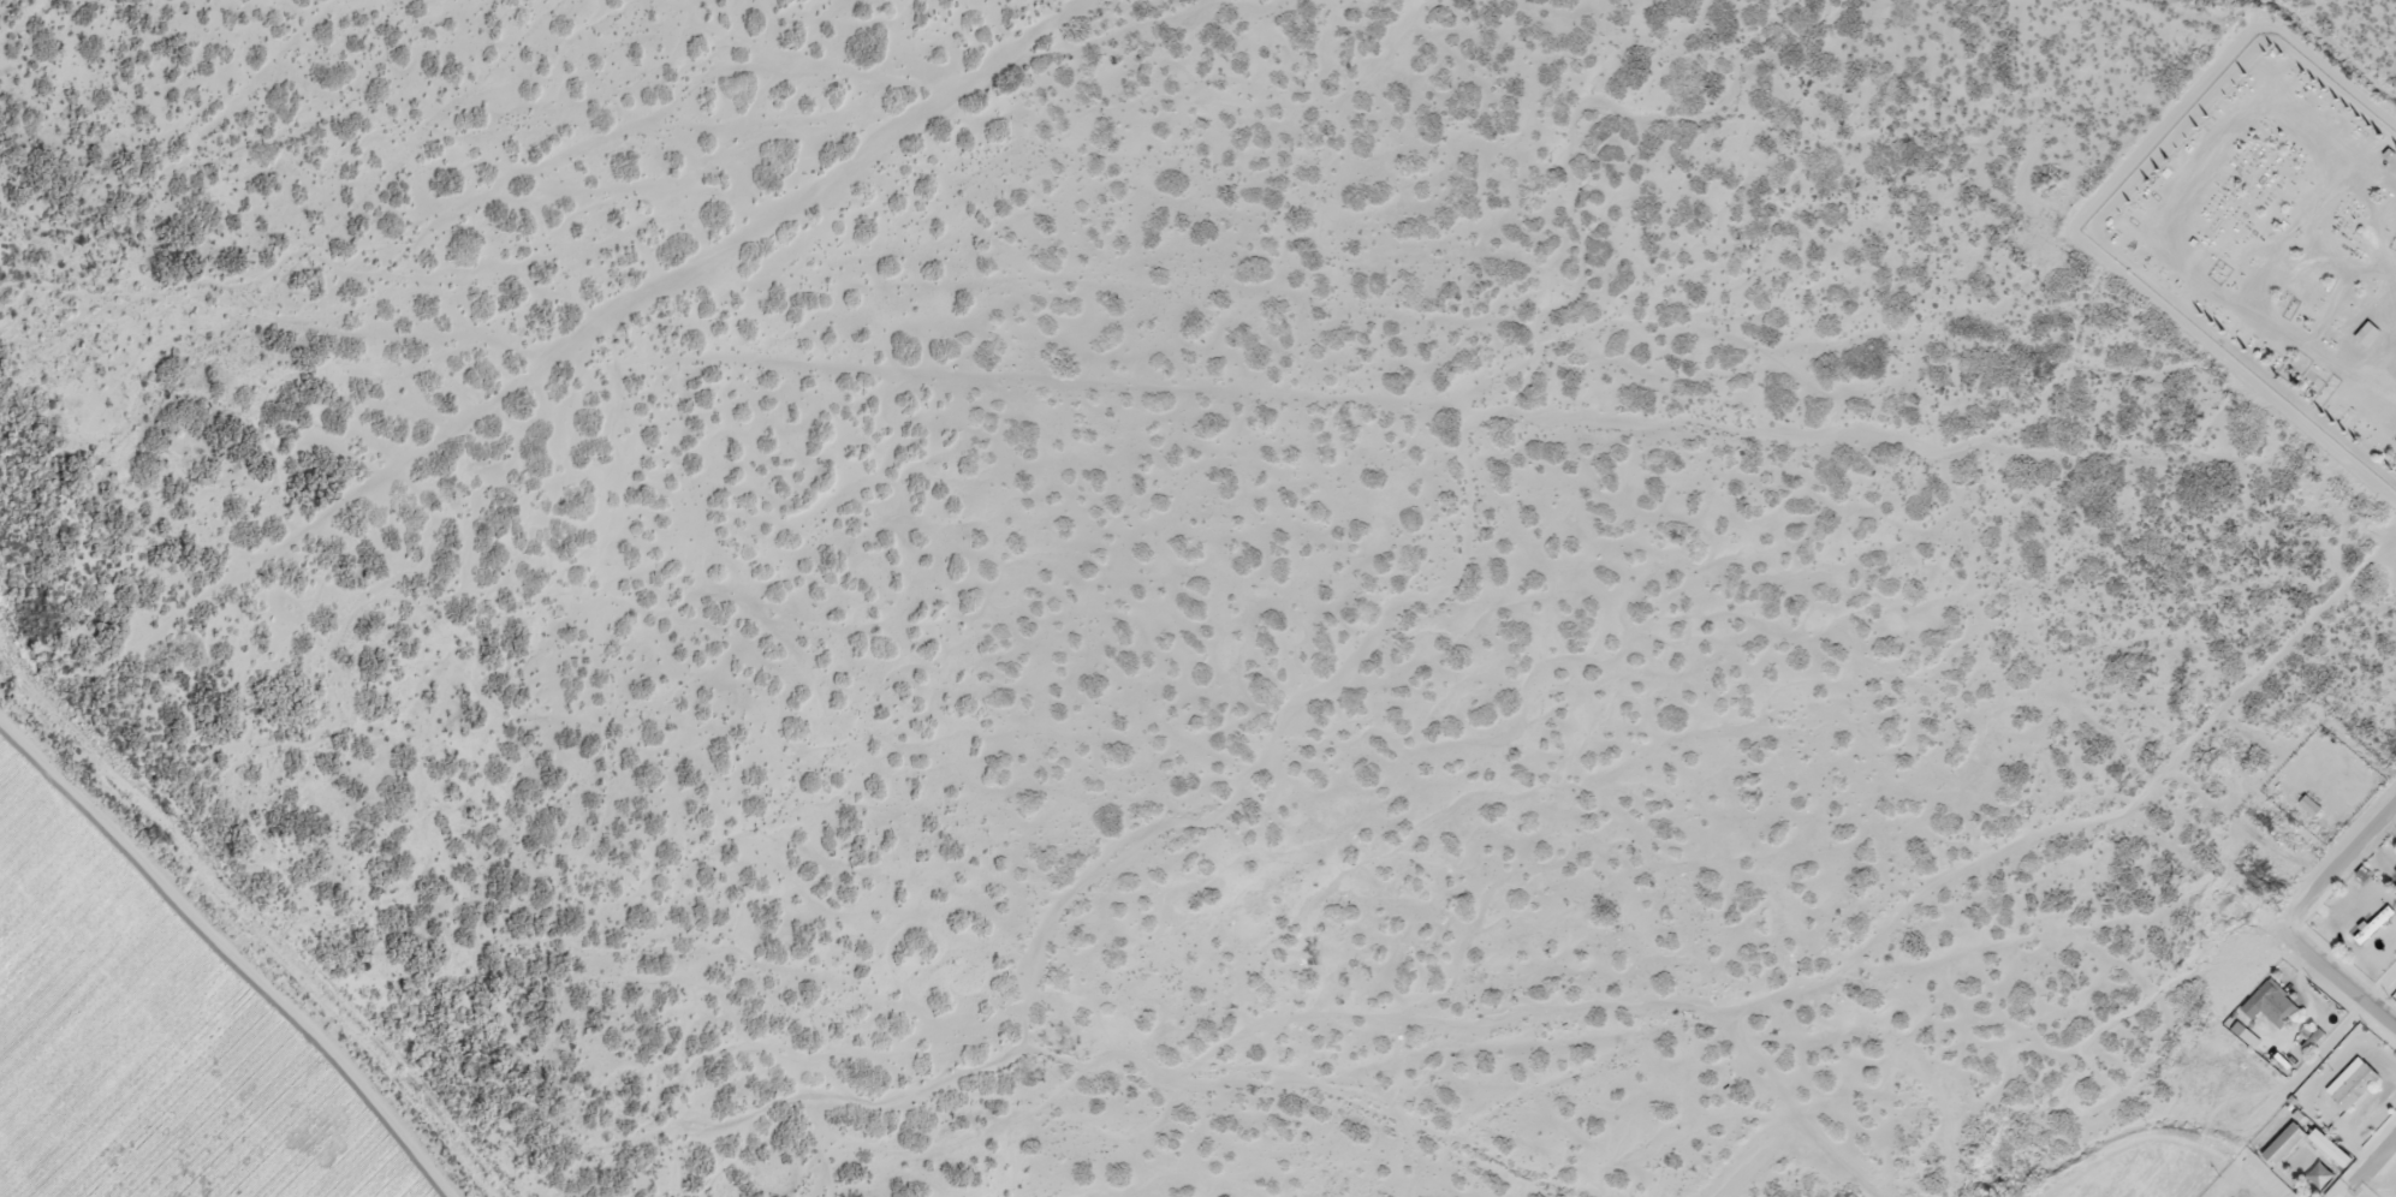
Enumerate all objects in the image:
park: (2278, 244)
building: (2368, 330)
building: (2312, 800)
road: (2336, 864)
road: (2336, 984)
road: (2382, 994)
building: (2272, 999)
building: (2353, 1082)
building: (2285, 1141)
road: (2380, 1162)
road: (1868, 1189)

